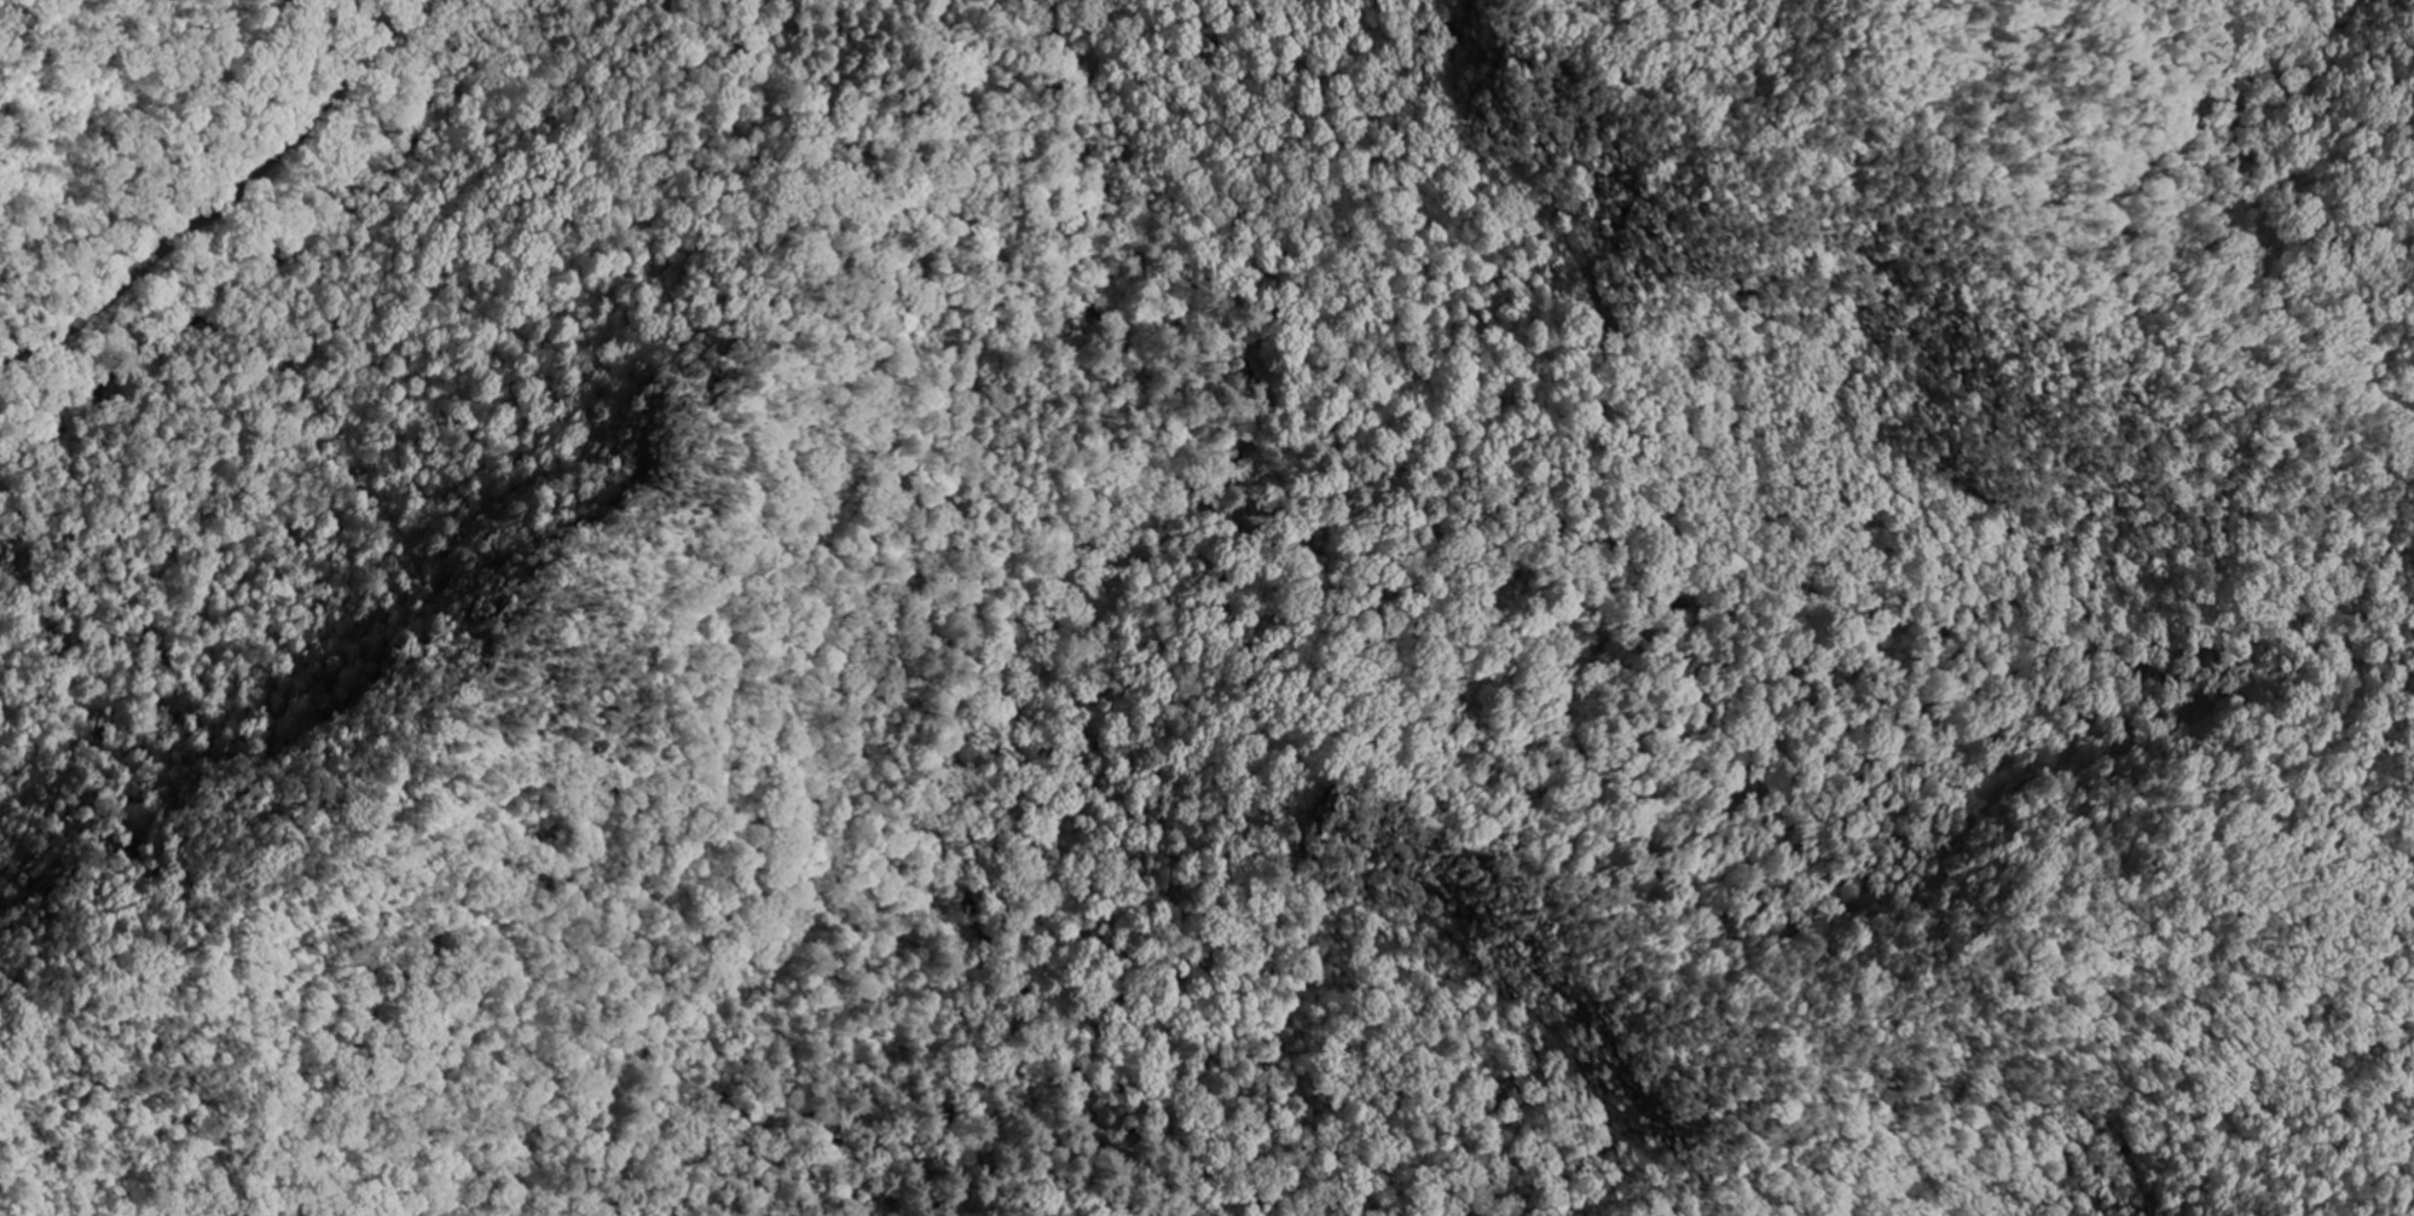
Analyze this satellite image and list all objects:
road: (225, 196)
road: (1403, 340)
road: (909, 469)
road: (1093, 630)

